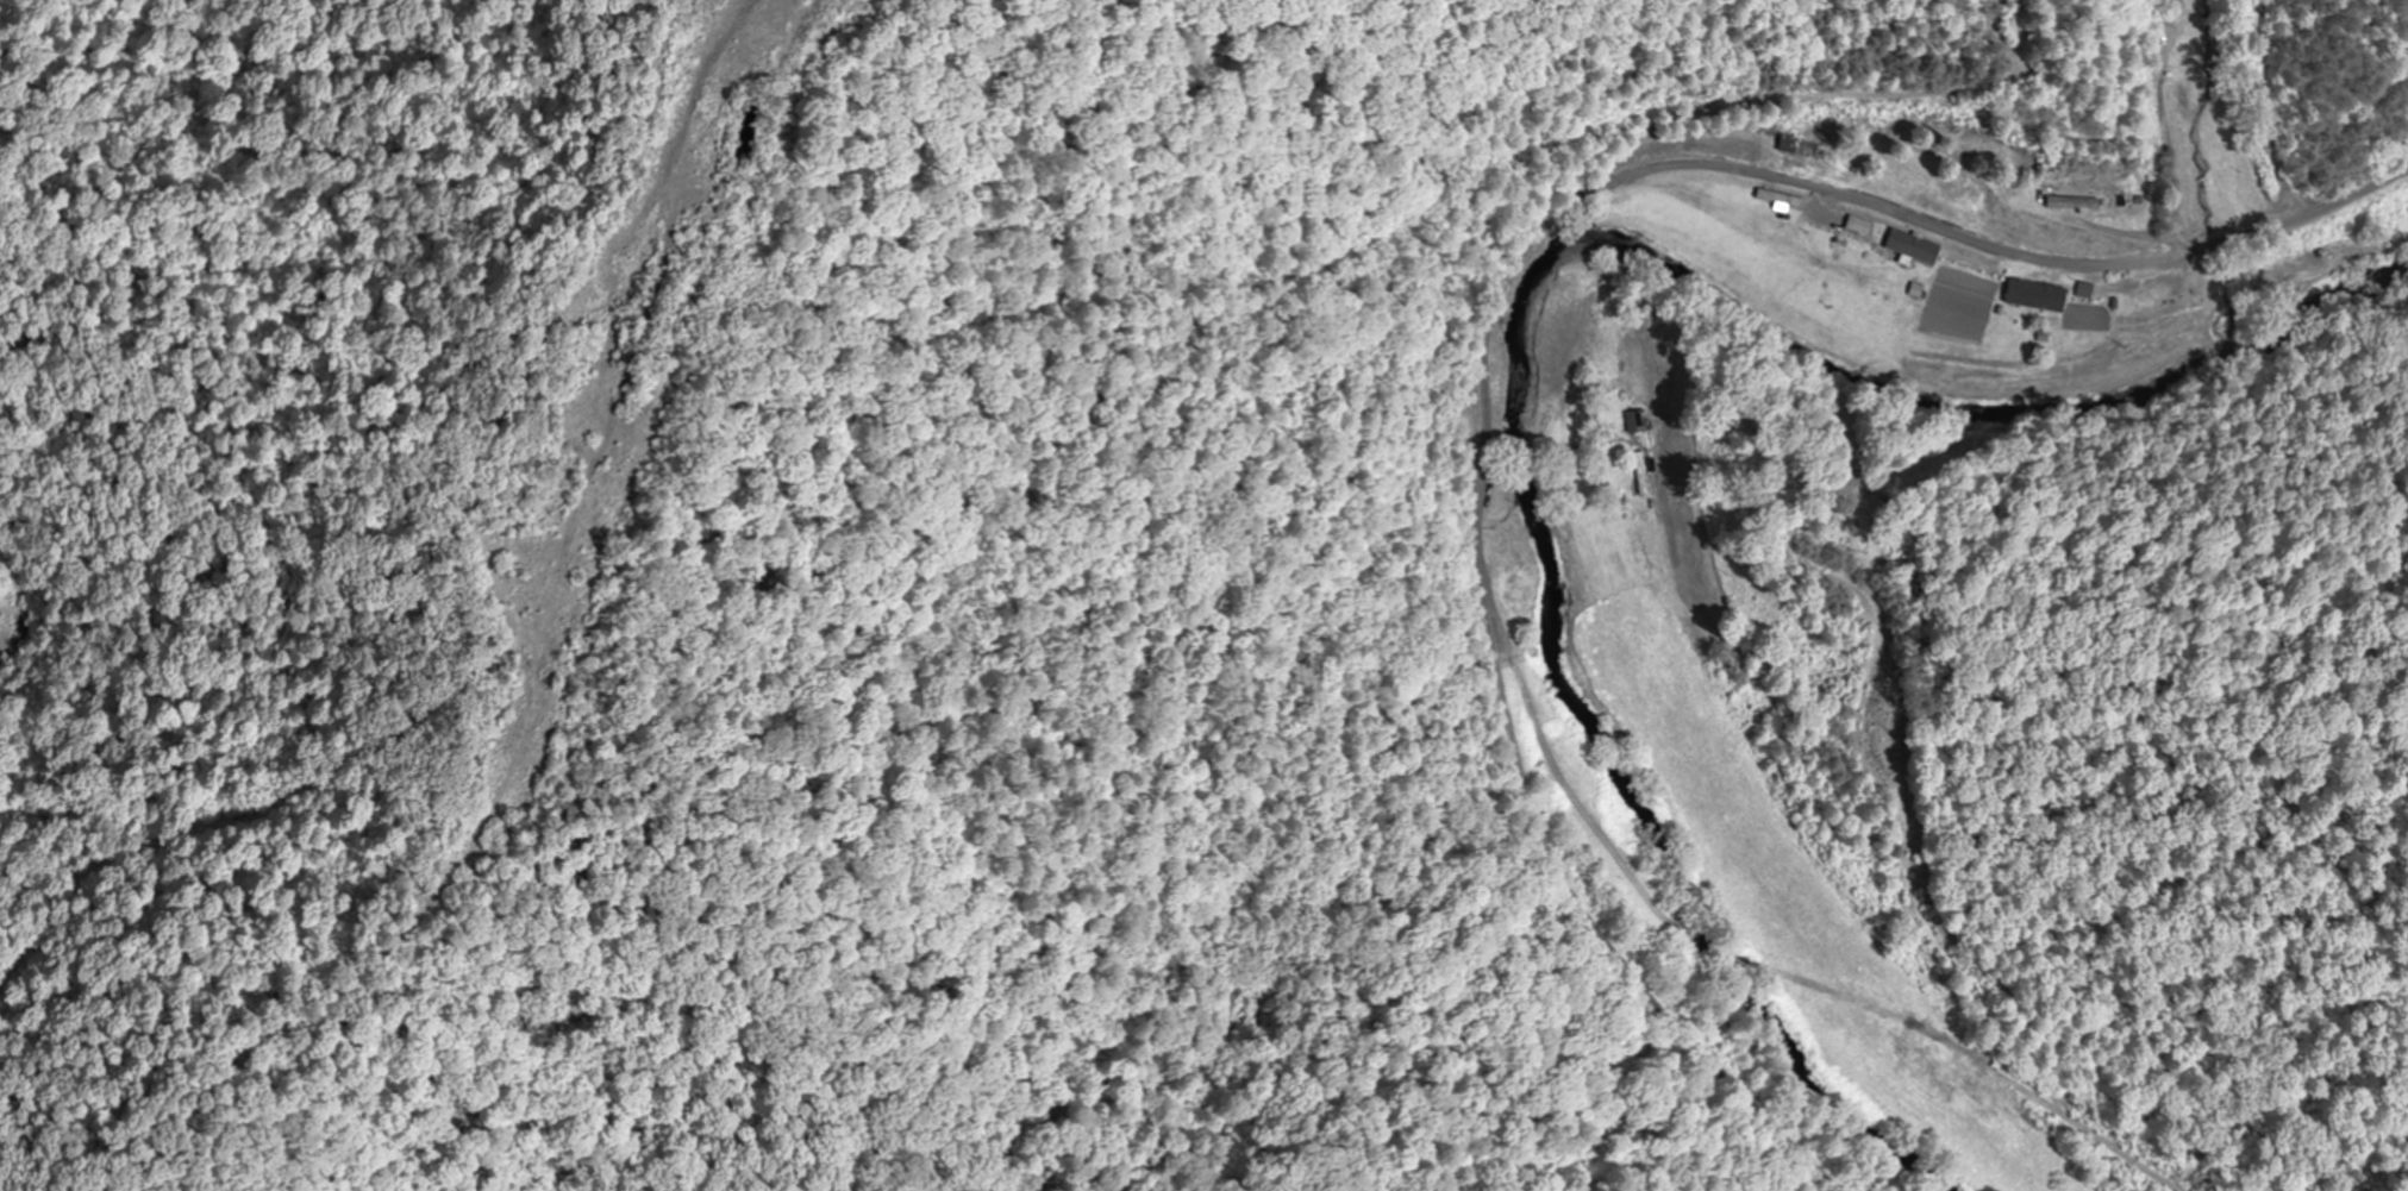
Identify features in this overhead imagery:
building: (1783, 144)
building: (2063, 203)
building: (1908, 246)
building: (1968, 278)
building: (2090, 290)
building: (2028, 296)
road: (1489, 302)
building: (1639, 421)
building: (1647, 472)

